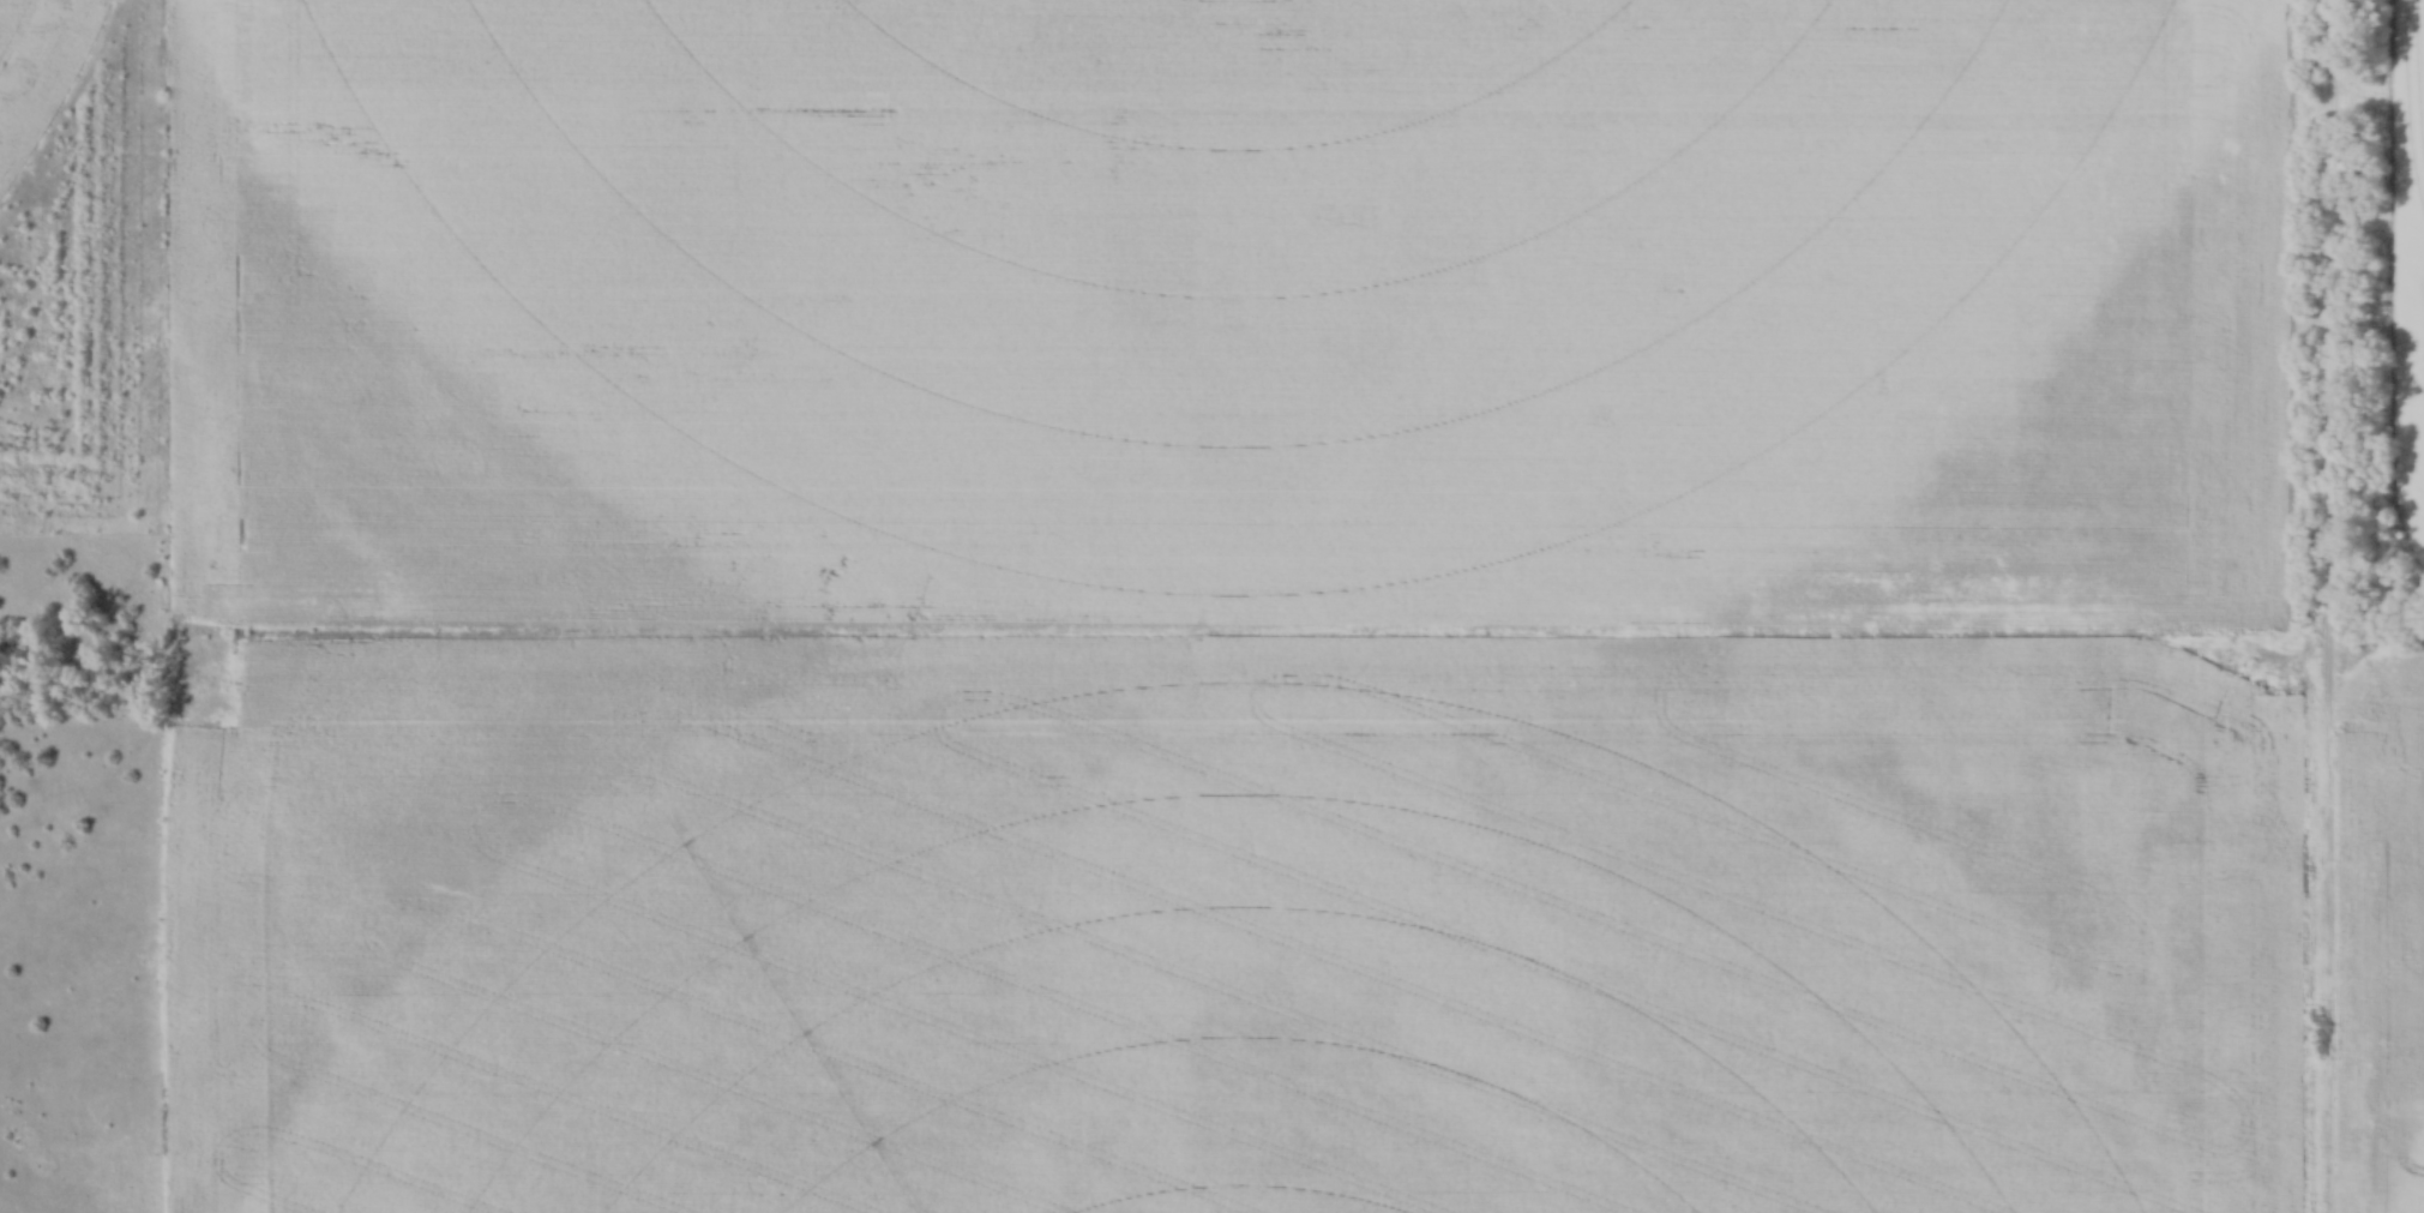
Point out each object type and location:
road: (2336, 606)

